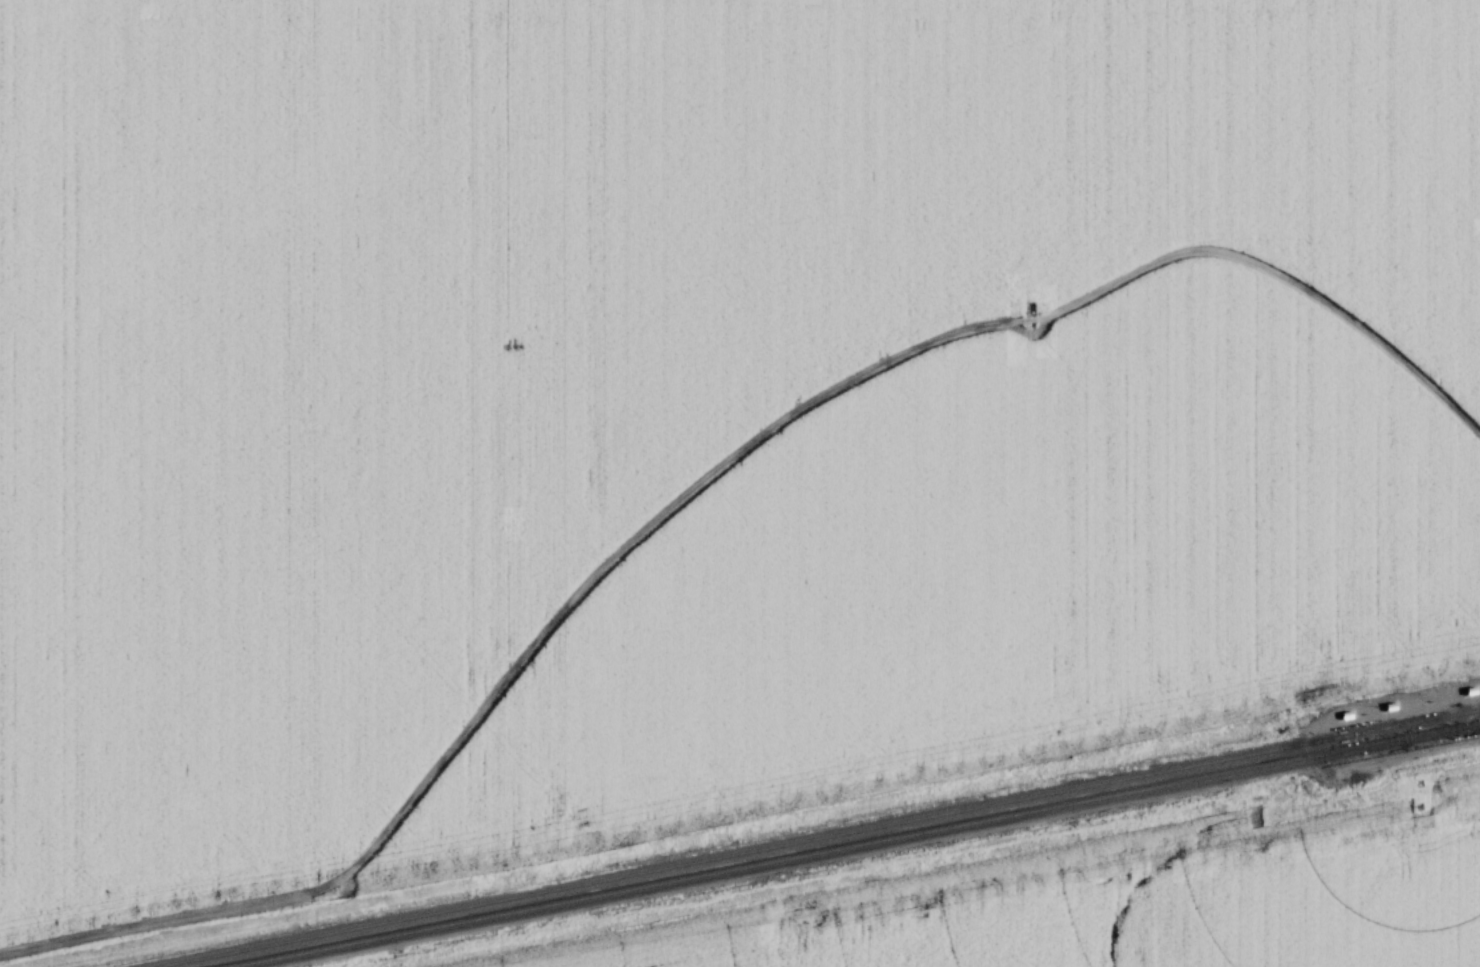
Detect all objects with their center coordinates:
crop: (560, 323)
crop: (1002, 569)
railway: (806, 836)
railway: (853, 845)

